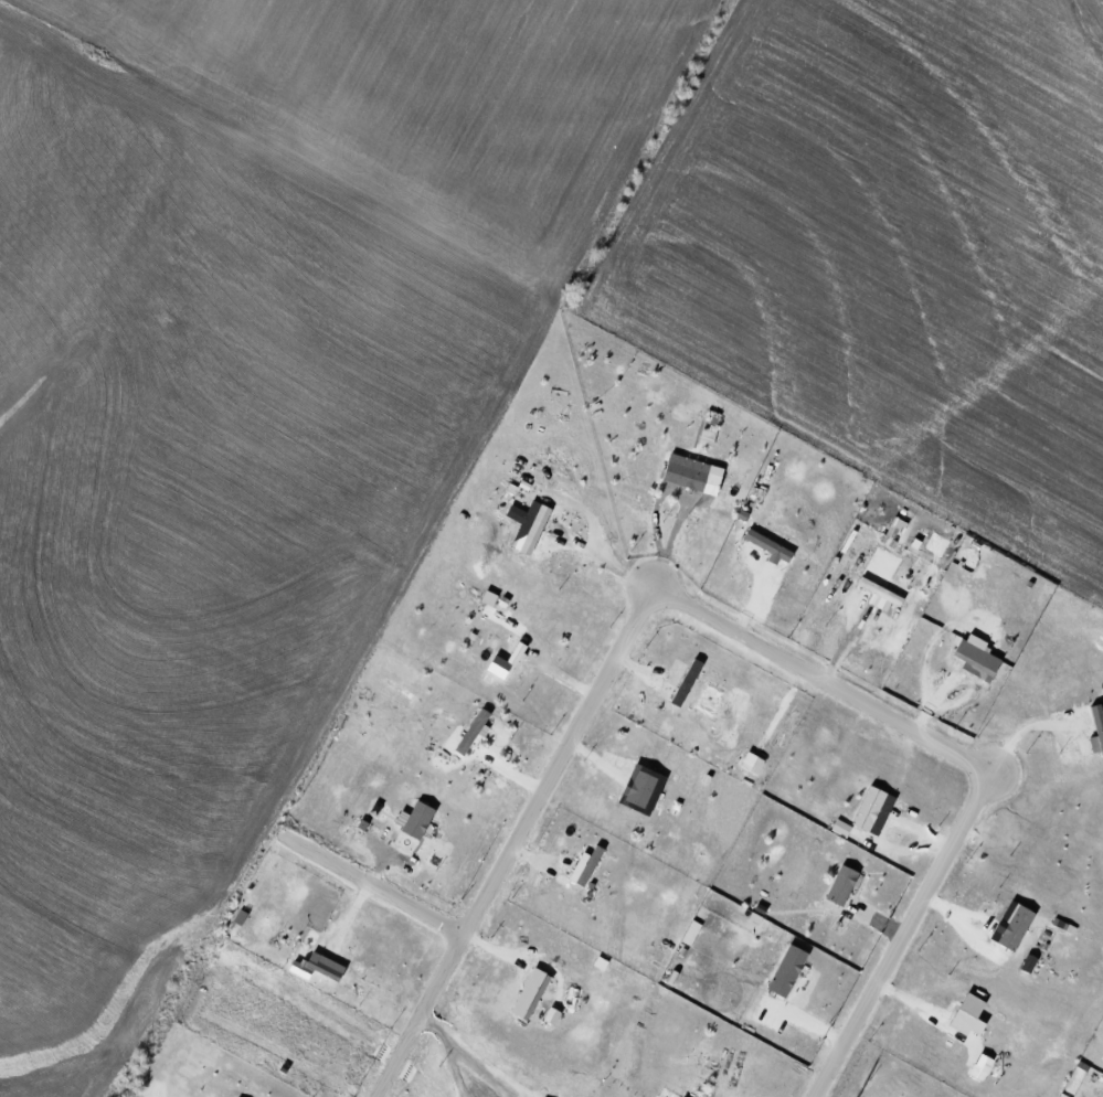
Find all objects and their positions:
building: (689, 470)
building: (538, 529)
building: (771, 545)
building: (883, 592)
road: (735, 628)
building: (978, 656)
building: (689, 681)
building: (1097, 728)
building: (475, 729)
road: (1031, 731)
building: (754, 761)
building: (643, 787)
building: (871, 807)
building: (417, 818)
building: (587, 865)
building: (845, 884)
road: (378, 885)
building: (1019, 926)
road: (527, 956)
building: (319, 966)
building: (789, 969)
building: (535, 994)
building: (553, 1014)
building: (972, 1014)
road: (435, 1027)
road: (478, 1066)
road: (453, 1068)

